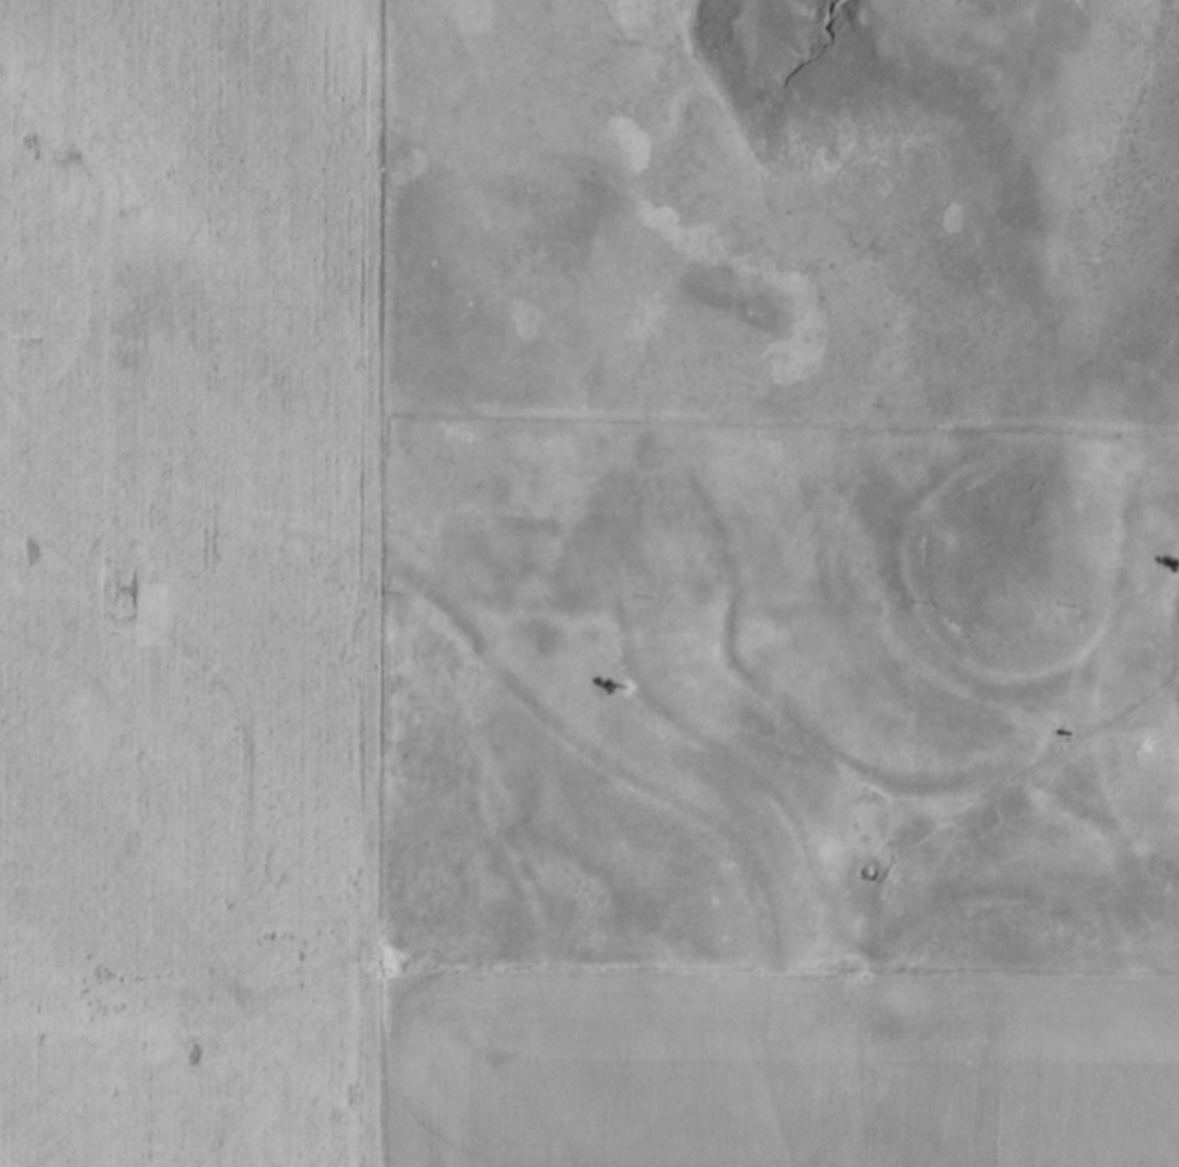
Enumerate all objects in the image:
crop: (343, 709)

